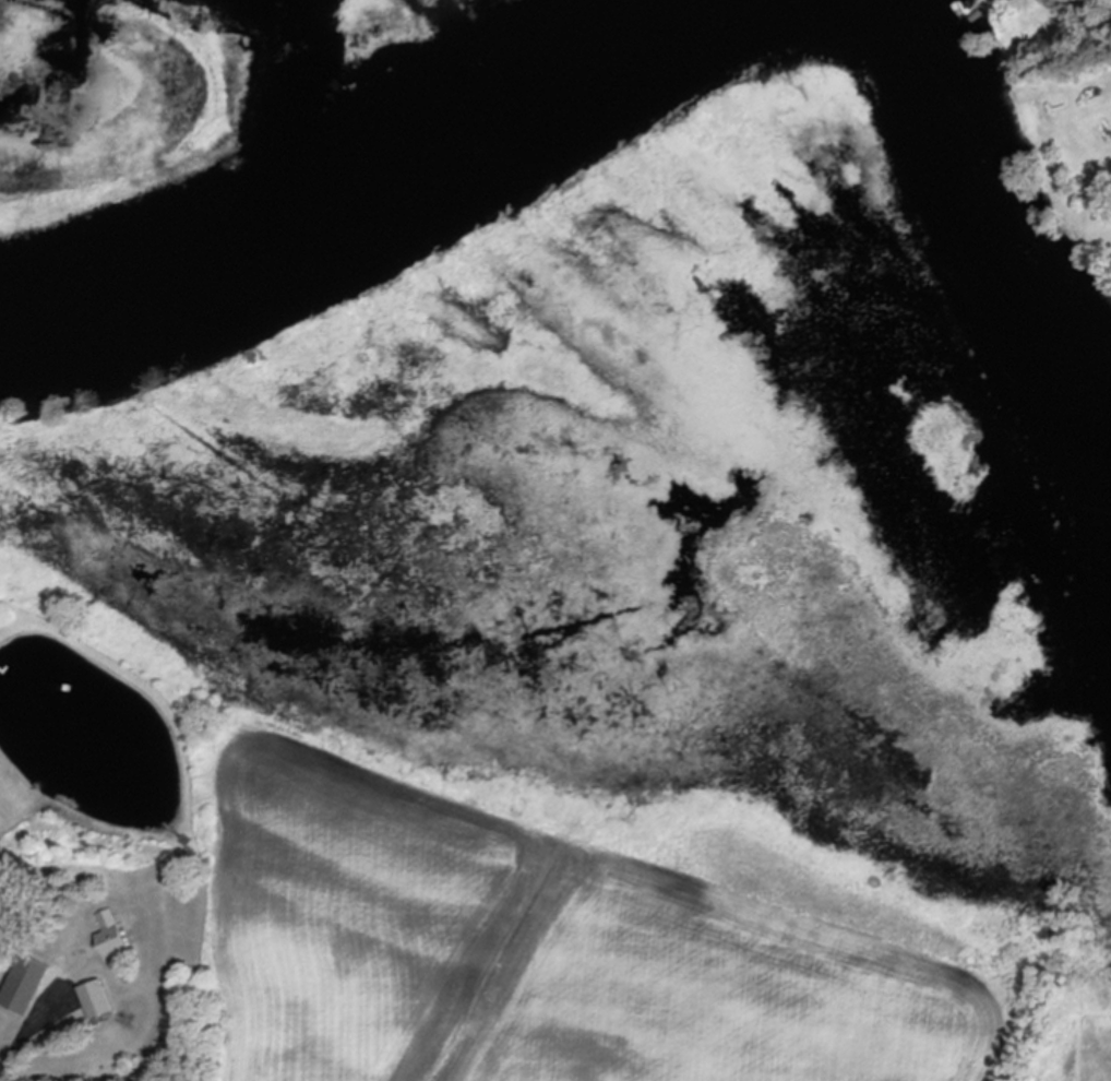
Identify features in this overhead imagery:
river: (375, 202)
river: (991, 218)
building: (117, 940)
building: (31, 986)
building: (100, 1001)
road: (28, 1037)

